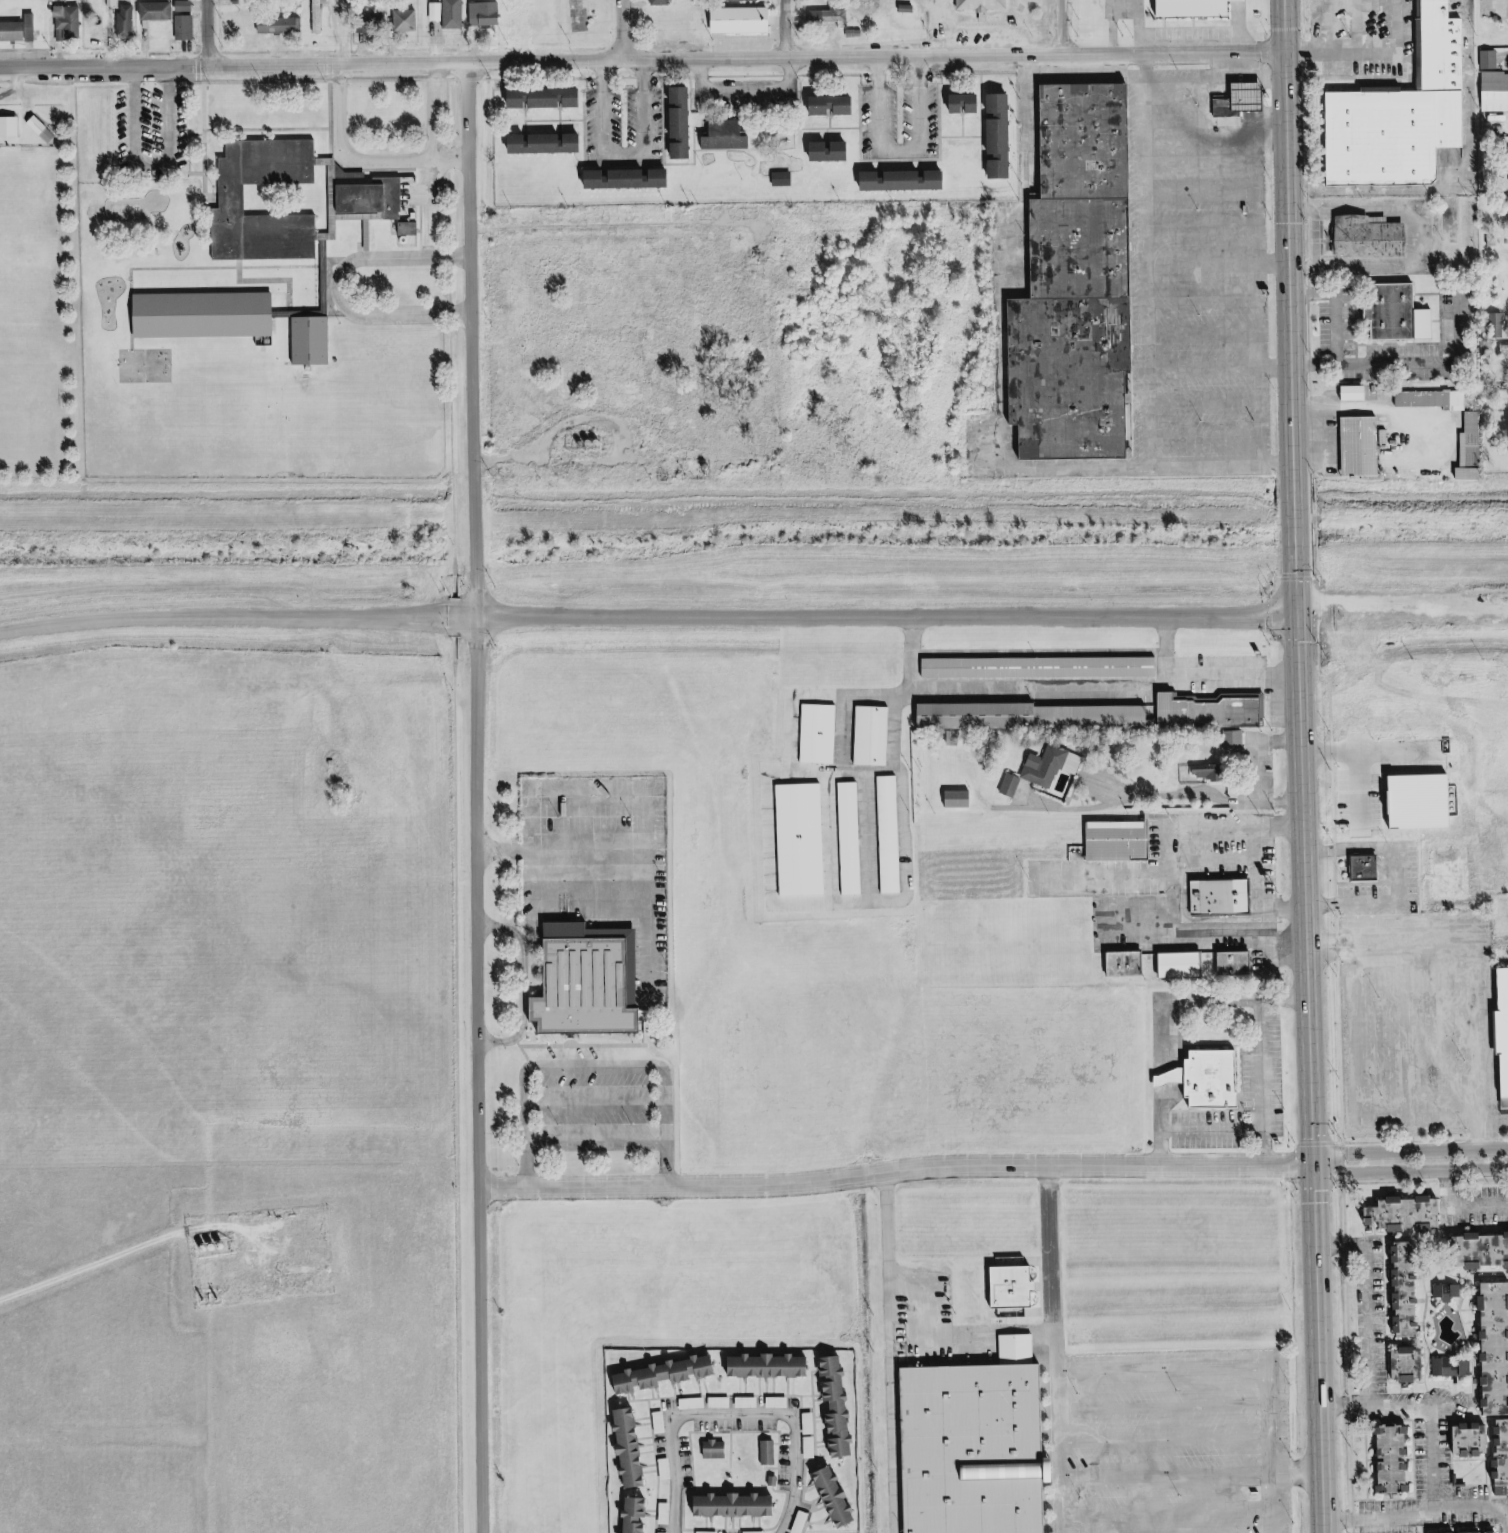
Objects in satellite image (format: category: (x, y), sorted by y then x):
building: (754, 0)
building: (662, 2)
building: (975, 4)
building: (187, 5)
building: (1185, 7)
building: (450, 13)
building: (487, 14)
building: (321, 16)
building: (831, 17)
building: (171, 18)
building: (378, 18)
building: (128, 20)
building: (408, 20)
building: (745, 20)
building: (70, 22)
building: (281, 25)
road: (963, 25)
road: (1105, 26)
road: (1130, 26)
park: (962, 27)
road: (1059, 27)
road: (1230, 27)
road: (929, 28)
road: (784, 29)
building: (20, 30)
road: (616, 31)
road: (206, 32)
road: (1158, 33)
road: (1188, 33)
road: (1320, 46)
road: (1302, 53)
road: (873, 56)
road: (1373, 57)
building: (1492, 59)
road: (230, 64)
road: (539, 82)
building: (1496, 91)
gas station: (1242, 94)
building: (548, 98)
building: (1243, 101)
building: (969, 104)
building: (1219, 105)
building: (837, 106)
road: (739, 110)
road: (791, 111)
road: (974, 116)
building: (1392, 117)
road: (551, 120)
road: (687, 120)
road: (574, 121)
road: (823, 122)
building: (685, 123)
road: (955, 125)
building: (11, 126)
building: (44, 129)
road: (262, 130)
road: (807, 130)
road: (819, 135)
building: (729, 136)
building: (1003, 136)
road: (196, 138)
road: (943, 138)
building: (1079, 138)
building: (548, 143)
road: (727, 150)
road: (892, 150)
building: (833, 151)
road: (617, 154)
road: (687, 162)
building: (1504, 168)
building: (630, 179)
building: (786, 179)
building: (907, 181)
building: (235, 196)
building: (376, 198)
road: (612, 226)
building: (412, 229)
building: (1361, 238)
building: (1073, 246)
building: (1386, 310)
building: (208, 315)
building: (315, 341)
building: (1506, 349)
road: (1373, 366)
road: (1311, 368)
building: (1064, 376)
building: (1358, 393)
building: (1435, 399)
building: (1364, 446)
building: (1473, 448)
road: (1309, 493)
road: (871, 616)
road: (220, 617)
traffic signals: (1300, 617)
building: (1043, 667)
building: (1215, 711)
building: (1034, 716)
building: (821, 733)
building: (875, 735)
building: (1237, 739)
building: (1053, 765)
road: (1303, 766)
building: (1013, 785)
road: (470, 797)
road: (625, 797)
building: (962, 799)
building: (1425, 801)
building: (892, 834)
building: (853, 838)
building: (804, 839)
building: (1122, 840)
road: (1348, 848)
road: (556, 852)
building: (1358, 868)
building: (1214, 895)
road: (586, 900)
road: (1376, 902)
road: (1334, 933)
building: (1130, 963)
building: (1240, 963)
building: (1185, 964)
road: (1471, 970)
building: (581, 980)
road: (516, 983)
building: (1501, 1034)
road: (587, 1067)
building: (1206, 1079)
road: (588, 1104)
road: (660, 1121)
road: (517, 1123)
road: (589, 1141)
road: (1410, 1161)
traffic signals: (1313, 1163)
road: (893, 1170)
road: (1382, 1182)
road: (1433, 1205)
road: (1450, 1208)
building: (1398, 1211)
road: (1361, 1237)
road: (1336, 1245)
building: (1476, 1248)
road: (1470, 1278)
building: (1018, 1286)
building: (1398, 1290)
building: (1449, 1291)
building: (1037, 1311)
road: (1507, 1313)
road: (1363, 1325)
road: (1414, 1325)
road: (937, 1333)
road: (1399, 1344)
building: (1490, 1346)
road: (1046, 1349)
road: (882, 1352)
road: (1341, 1358)
building: (772, 1365)
building: (1400, 1366)
building: (1455, 1367)
road: (1210, 1369)
building: (667, 1374)
building: (722, 1402)
building: (749, 1402)
building: (779, 1402)
building: (695, 1403)
building: (841, 1404)
road: (1157, 1406)
road: (1379, 1406)
road: (734, 1413)
building: (662, 1422)
building: (811, 1423)
building: (1462, 1440)
road: (1158, 1444)
building: (635, 1446)
building: (812, 1447)
building: (969, 1448)
building: (718, 1449)
building: (771, 1452)
building: (1497, 1454)
road: (1426, 1456)
building: (1385, 1460)
road: (1183, 1477)
road: (1473, 1486)
road: (1407, 1496)
building: (738, 1505)
road: (1507, 1510)
building: (640, 1514)
road: (1179, 1514)
road: (1418, 1515)
building: (803, 1522)
road: (1170, 1524)
building: (1459, 1531)
building: (666, 1532)
building: (709, 1532)
building: (757, 1532)

